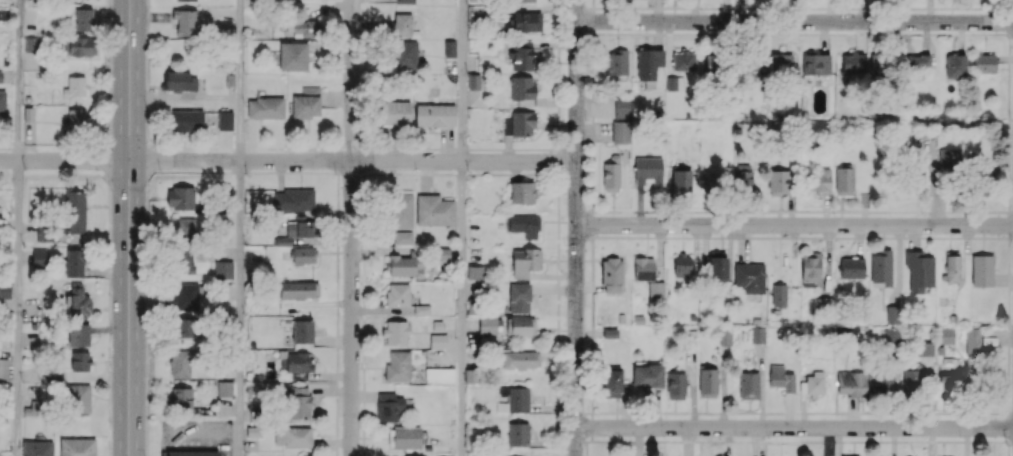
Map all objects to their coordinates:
building: (187, 0)
building: (524, 0)
building: (404, 1)
building: (83, 19)
building: (186, 21)
building: (526, 21)
road: (795, 21)
building: (402, 24)
building: (306, 27)
building: (31, 44)
building: (79, 46)
building: (449, 48)
building: (405, 54)
building: (521, 55)
building: (293, 56)
building: (683, 61)
building: (852, 61)
building: (918, 61)
building: (616, 62)
building: (711, 62)
building: (750, 62)
building: (876, 62)
building: (648, 63)
building: (984, 63)
building: (780, 64)
building: (816, 64)
building: (955, 65)
building: (0, 76)
road: (17, 80)
road: (240, 80)
road: (461, 80)
building: (180, 81)
building: (473, 81)
building: (674, 83)
building: (75, 86)
building: (522, 89)
building: (306, 102)
building: (2, 103)
building: (265, 107)
building: (622, 107)
building: (395, 113)
building: (435, 115)
building: (76, 119)
building: (187, 120)
building: (224, 120)
building: (519, 123)
building: (620, 131)
building: (949, 158)
road: (288, 161)
building: (648, 170)
building: (611, 174)
building: (917, 175)
building: (742, 176)
building: (681, 180)
building: (711, 180)
building: (820, 180)
building: (843, 181)
building: (981, 181)
building: (777, 182)
building: (521, 192)
building: (180, 197)
building: (294, 199)
building: (75, 210)
building: (400, 210)
building: (434, 210)
building: (523, 225)
road: (795, 225)
road: (352, 227)
road: (129, 228)
road: (576, 228)
building: (184, 229)
building: (297, 230)
building: (44, 232)
building: (403, 237)
building: (442, 254)
building: (303, 255)
building: (39, 257)
building: (525, 261)
building: (183, 262)
building: (73, 263)
building: (405, 263)
building: (682, 265)
building: (717, 266)
building: (952, 266)
building: (851, 267)
building: (881, 267)
building: (643, 268)
building: (223, 269)
building: (810, 269)
building: (918, 270)
building: (981, 270)
building: (475, 272)
building: (612, 275)
building: (749, 277)
building: (5, 289)
building: (296, 290)
building: (656, 290)
building: (397, 294)
building: (778, 294)
building: (185, 296)
building: (519, 297)
building: (78, 301)
road: (16, 308)
road: (239, 308)
road: (460, 308)
building: (892, 314)
building: (487, 325)
building: (521, 325)
building: (184, 328)
building: (302, 331)
building: (396, 332)
building: (78, 334)
building: (757, 334)
building: (946, 335)
building: (891, 336)
building: (725, 337)
building: (438, 340)
building: (973, 341)
building: (925, 348)
building: (520, 359)
building: (80, 361)
building: (180, 363)
building: (296, 363)
building: (398, 366)
building: (3, 370)
building: (439, 374)
building: (647, 376)
building: (781, 378)
building: (911, 379)
building: (707, 382)
building: (883, 382)
building: (611, 383)
building: (812, 383)
building: (852, 383)
building: (675, 385)
building: (748, 385)
building: (950, 385)
building: (224, 388)
building: (78, 398)
building: (180, 398)
building: (516, 398)
building: (300, 402)
building: (389, 407)
road: (794, 427)
building: (518, 434)
building: (292, 436)
building: (77, 446)
building: (37, 448)
building: (189, 453)
building: (850, 455)

